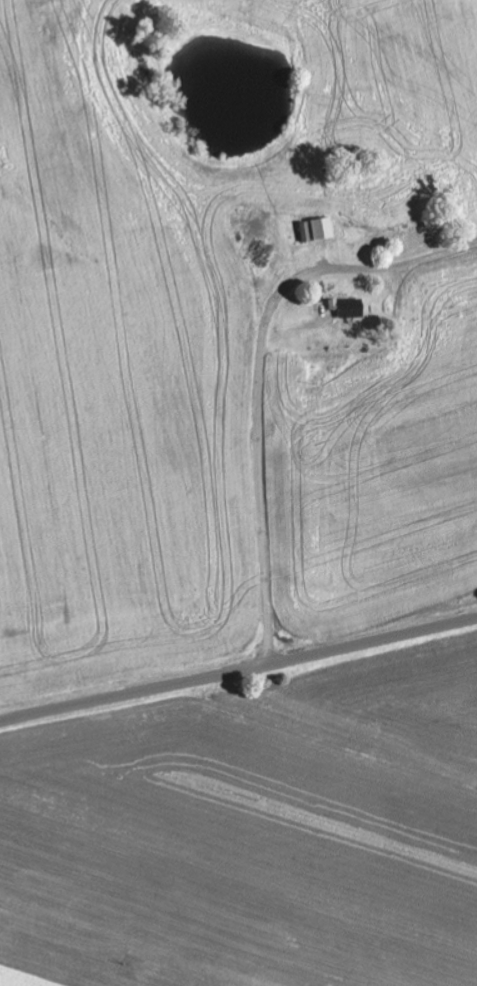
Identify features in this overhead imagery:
building: (346, 309)
road: (261, 435)
road: (238, 672)

